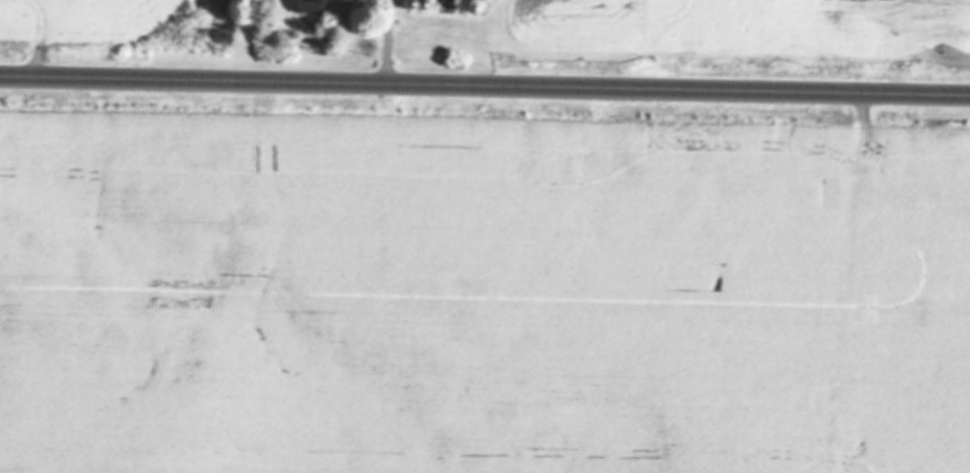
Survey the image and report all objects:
building: (312, 7)
building: (889, 8)
road: (485, 86)

